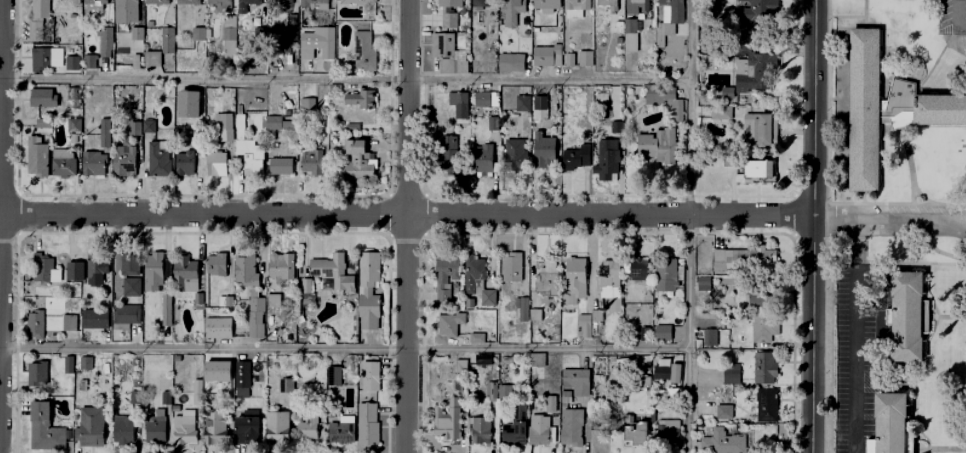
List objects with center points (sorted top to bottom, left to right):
building: (92, 1)
building: (156, 1)
building: (356, 1)
building: (187, 2)
building: (243, 2)
building: (602, 2)
building: (544, 3)
building: (220, 4)
building: (312, 4)
building: (482, 4)
building: (632, 5)
building: (573, 7)
building: (124, 11)
building: (450, 11)
building: (508, 11)
road: (863, 14)
building: (750, 15)
road: (845, 17)
parking lot: (951, 18)
building: (36, 19)
road: (956, 19)
building: (273, 20)
building: (148, 24)
building: (612, 26)
building: (664, 33)
building: (136, 34)
building: (198, 35)
building: (630, 36)
building: (166, 38)
building: (229, 39)
building: (288, 39)
building: (323, 41)
building: (104, 46)
building: (197, 47)
building: (365, 47)
building: (88, 53)
building: (447, 54)
building: (545, 55)
building: (44, 57)
building: (151, 58)
building: (586, 58)
road: (935, 58)
building: (569, 60)
building: (70, 61)
building: (135, 62)
building: (511, 63)
building: (617, 67)
building: (755, 75)
road: (344, 83)
building: (334, 90)
building: (726, 93)
building: (42, 98)
building: (74, 98)
building: (359, 98)
building: (506, 98)
building: (460, 100)
building: (482, 100)
building: (663, 102)
building: (307, 103)
building: (522, 104)
road: (0, 108)
building: (539, 109)
building: (884, 109)
building: (722, 113)
building: (42, 123)
building: (74, 125)
building: (492, 125)
building: (612, 125)
building: (149, 127)
building: (223, 128)
building: (134, 129)
building: (279, 129)
building: (352, 129)
building: (756, 131)
building: (105, 134)
building: (198, 135)
building: (448, 143)
building: (247, 146)
building: (658, 146)
building: (543, 151)
building: (513, 156)
building: (37, 157)
building: (575, 158)
building: (608, 158)
building: (158, 160)
building: (482, 160)
building: (124, 162)
building: (358, 162)
building: (94, 164)
building: (184, 164)
building: (313, 164)
building: (216, 165)
building: (451, 165)
building: (281, 166)
building: (64, 167)
building: (759, 170)
road: (913, 186)
road: (913, 194)
road: (862, 197)
road: (878, 202)
road: (405, 215)
road: (890, 216)
road: (916, 220)
road: (405, 226)
road: (687, 226)
road: (811, 226)
road: (854, 249)
road: (941, 253)
building: (722, 261)
road: (896, 263)
building: (129, 265)
building: (216, 265)
building: (281, 267)
building: (512, 267)
building: (41, 269)
building: (96, 269)
building: (244, 270)
building: (638, 270)
building: (75, 272)
building: (158, 273)
building: (332, 273)
building: (185, 277)
building: (665, 277)
building: (445, 278)
building: (546, 278)
building: (477, 280)
building: (574, 282)
building: (608, 284)
building: (305, 287)
building: (131, 290)
building: (369, 291)
building: (721, 293)
building: (197, 299)
building: (272, 301)
building: (225, 303)
building: (166, 307)
building: (521, 308)
building: (212, 312)
building: (608, 313)
building: (126, 315)
building: (254, 315)
road: (946, 315)
building: (534, 316)
building: (596, 316)
building: (740, 316)
building: (905, 316)
building: (93, 319)
building: (764, 319)
building: (299, 320)
building: (446, 322)
building: (34, 326)
building: (584, 326)
building: (69, 327)
building: (217, 328)
building: (663, 333)
building: (644, 335)
building: (473, 337)
building: (711, 338)
road: (343, 347)
parking lot: (859, 350)
building: (479, 359)
building: (535, 360)
building: (68, 366)
building: (86, 366)
building: (461, 367)
road: (853, 368)
building: (660, 369)
building: (764, 369)
building: (216, 370)
building: (730, 374)
building: (37, 375)
building: (369, 376)
building: (334, 377)
building: (243, 380)
building: (224, 383)
building: (576, 383)
building: (644, 383)
building: (287, 387)
building: (195, 391)
building: (491, 392)
building: (503, 392)
building: (133, 396)
building: (165, 398)
building: (565, 398)
building: (551, 405)
building: (765, 405)
building: (175, 409)
building: (723, 412)
building: (448, 421)
building: (366, 425)
building: (889, 425)
building: (277, 427)
building: (571, 427)
building: (91, 428)
building: (184, 428)
building: (217, 428)
building: (123, 429)
building: (45, 430)
building: (154, 431)
building: (246, 431)
building: (341, 431)
building: (477, 431)
building: (538, 431)
building: (667, 433)
building: (307, 434)
building: (514, 434)
building: (635, 434)
building: (726, 442)
road: (939, 449)

